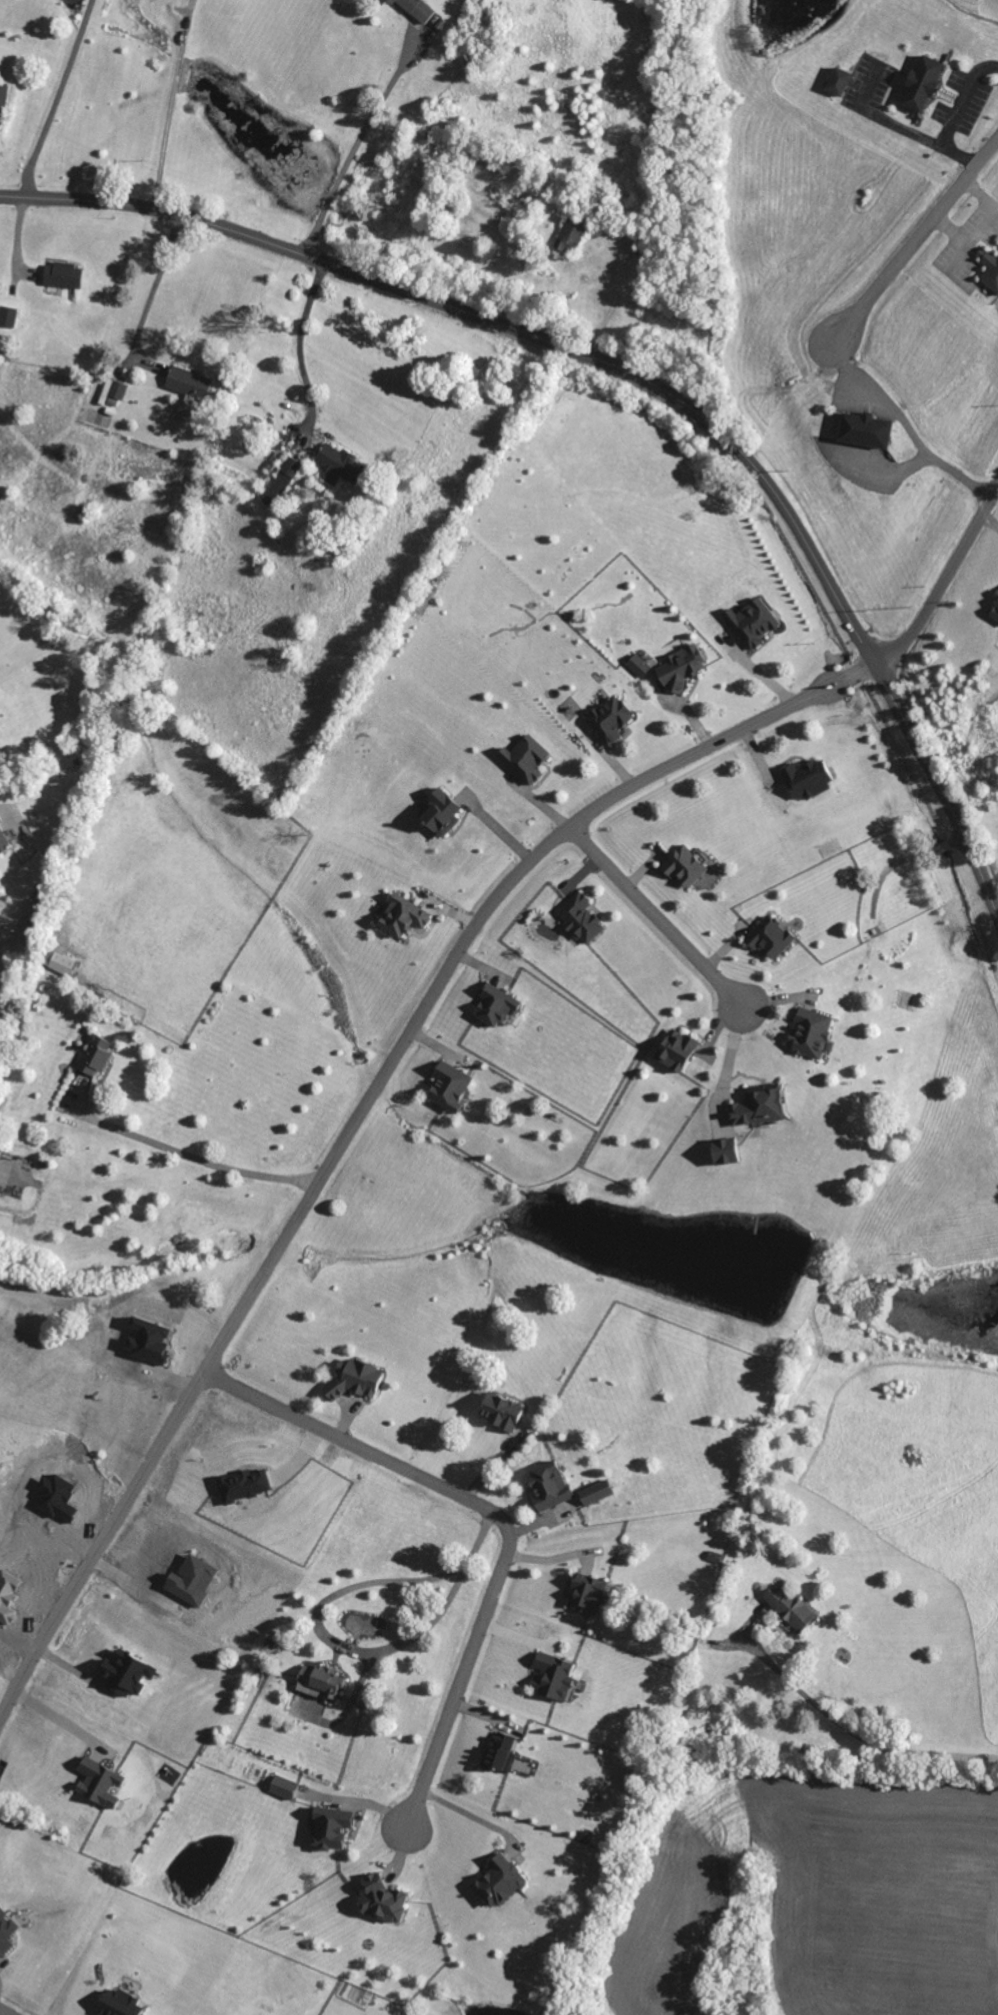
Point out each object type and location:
building: (412, 11)
building: (836, 85)
building: (920, 87)
road: (56, 98)
building: (3, 100)
road: (168, 104)
road: (955, 115)
road: (881, 120)
road: (354, 144)
road: (978, 193)
road: (963, 231)
building: (567, 240)
building: (988, 273)
building: (61, 279)
road: (153, 286)
building: (6, 320)
road: (839, 323)
road: (298, 337)
road: (637, 376)
building: (185, 386)
building: (115, 394)
building: (862, 434)
building: (334, 468)
building: (278, 485)
road: (943, 582)
building: (994, 609)
building: (751, 625)
building: (637, 667)
building: (679, 670)
building: (608, 721)
building: (523, 761)
building: (806, 782)
building: (438, 815)
building: (3, 846)
building: (682, 869)
road: (654, 918)
building: (400, 919)
building: (577, 920)
building: (768, 940)
building: (56, 964)
building: (493, 1008)
building: (809, 1036)
building: (673, 1052)
building: (91, 1058)
road: (725, 1066)
building: (446, 1089)
building: (756, 1108)
road: (362, 1112)
building: (722, 1154)
road: (200, 1161)
building: (145, 1344)
building: (353, 1382)
building: (498, 1414)
building: (241, 1488)
building: (546, 1489)
building: (594, 1495)
road: (503, 1521)
building: (585, 1596)
building: (787, 1609)
building: (123, 1677)
building: (550, 1680)
building: (316, 1685)
road: (59, 1725)
road: (853, 1733)
building: (498, 1756)
building: (96, 1786)
building: (280, 1790)
road: (470, 1819)
building: (328, 1831)
building: (495, 1885)
building: (379, 1903)
building: (5, 1935)
building: (117, 2004)
road: (9, 2009)

